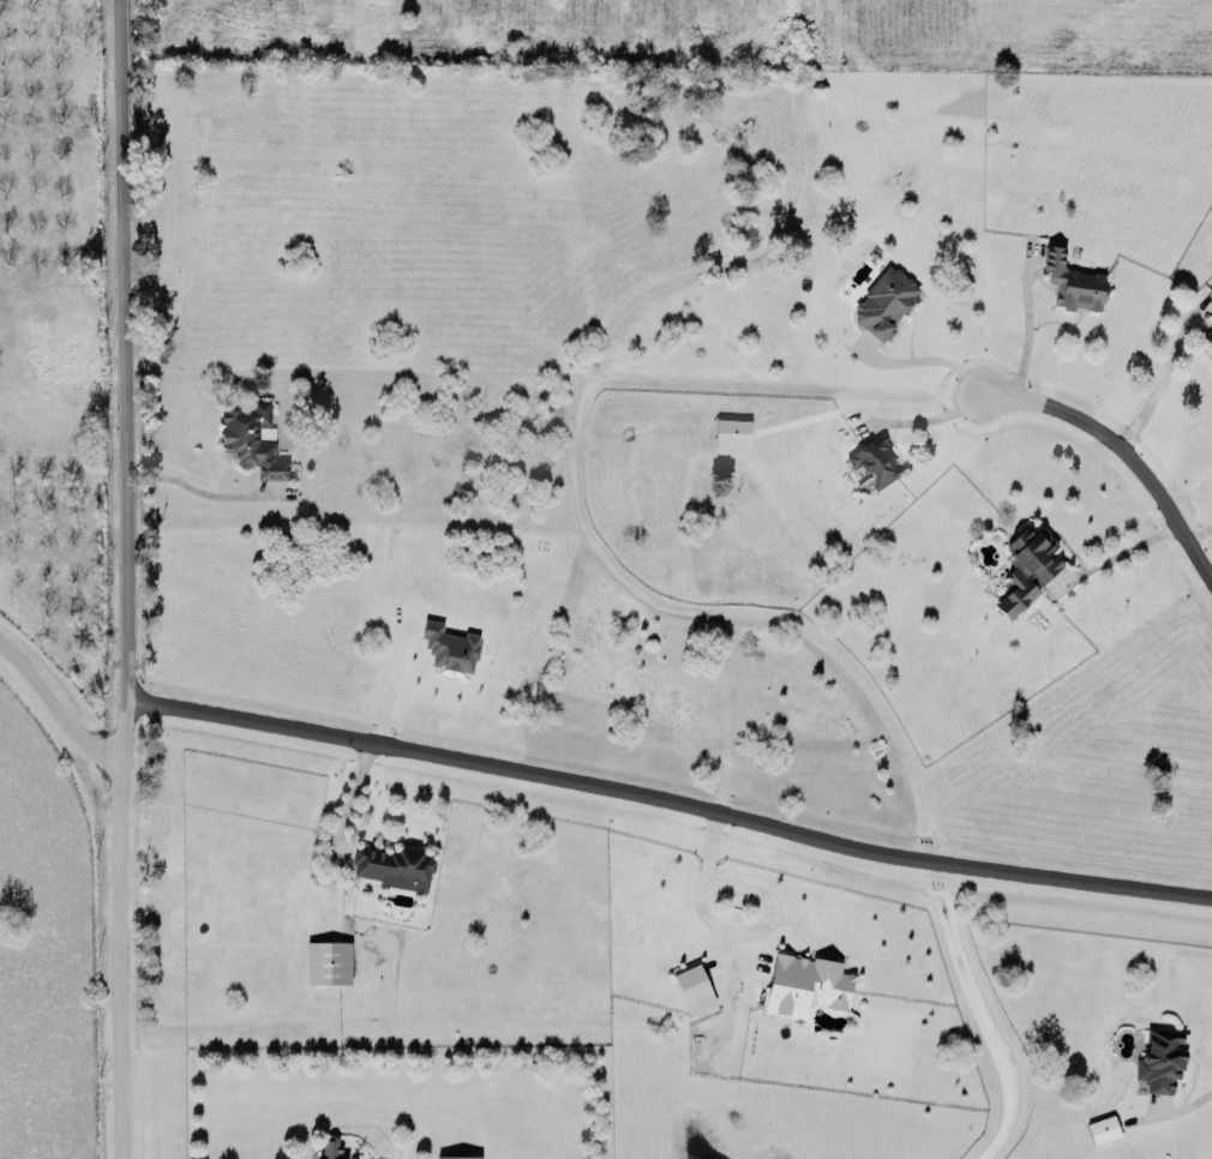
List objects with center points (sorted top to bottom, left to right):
crop: (692, 29)
building: (1072, 278)
building: (884, 300)
road: (1028, 325)
building: (1208, 331)
road: (920, 360)
road: (1162, 376)
road: (119, 378)
road: (920, 419)
building: (731, 433)
building: (251, 438)
road: (1124, 454)
building: (874, 460)
road: (196, 486)
road: (1196, 530)
road: (1115, 556)
building: (1027, 564)
building: (449, 642)
road: (388, 685)
road: (53, 707)
road: (349, 794)
road: (667, 799)
building: (394, 861)
road: (725, 926)
road: (118, 957)
building: (328, 960)
building: (805, 979)
building: (692, 985)
building: (1160, 1058)
road: (1182, 1105)
building: (1102, 1127)
building: (331, 1147)
building: (457, 1155)

